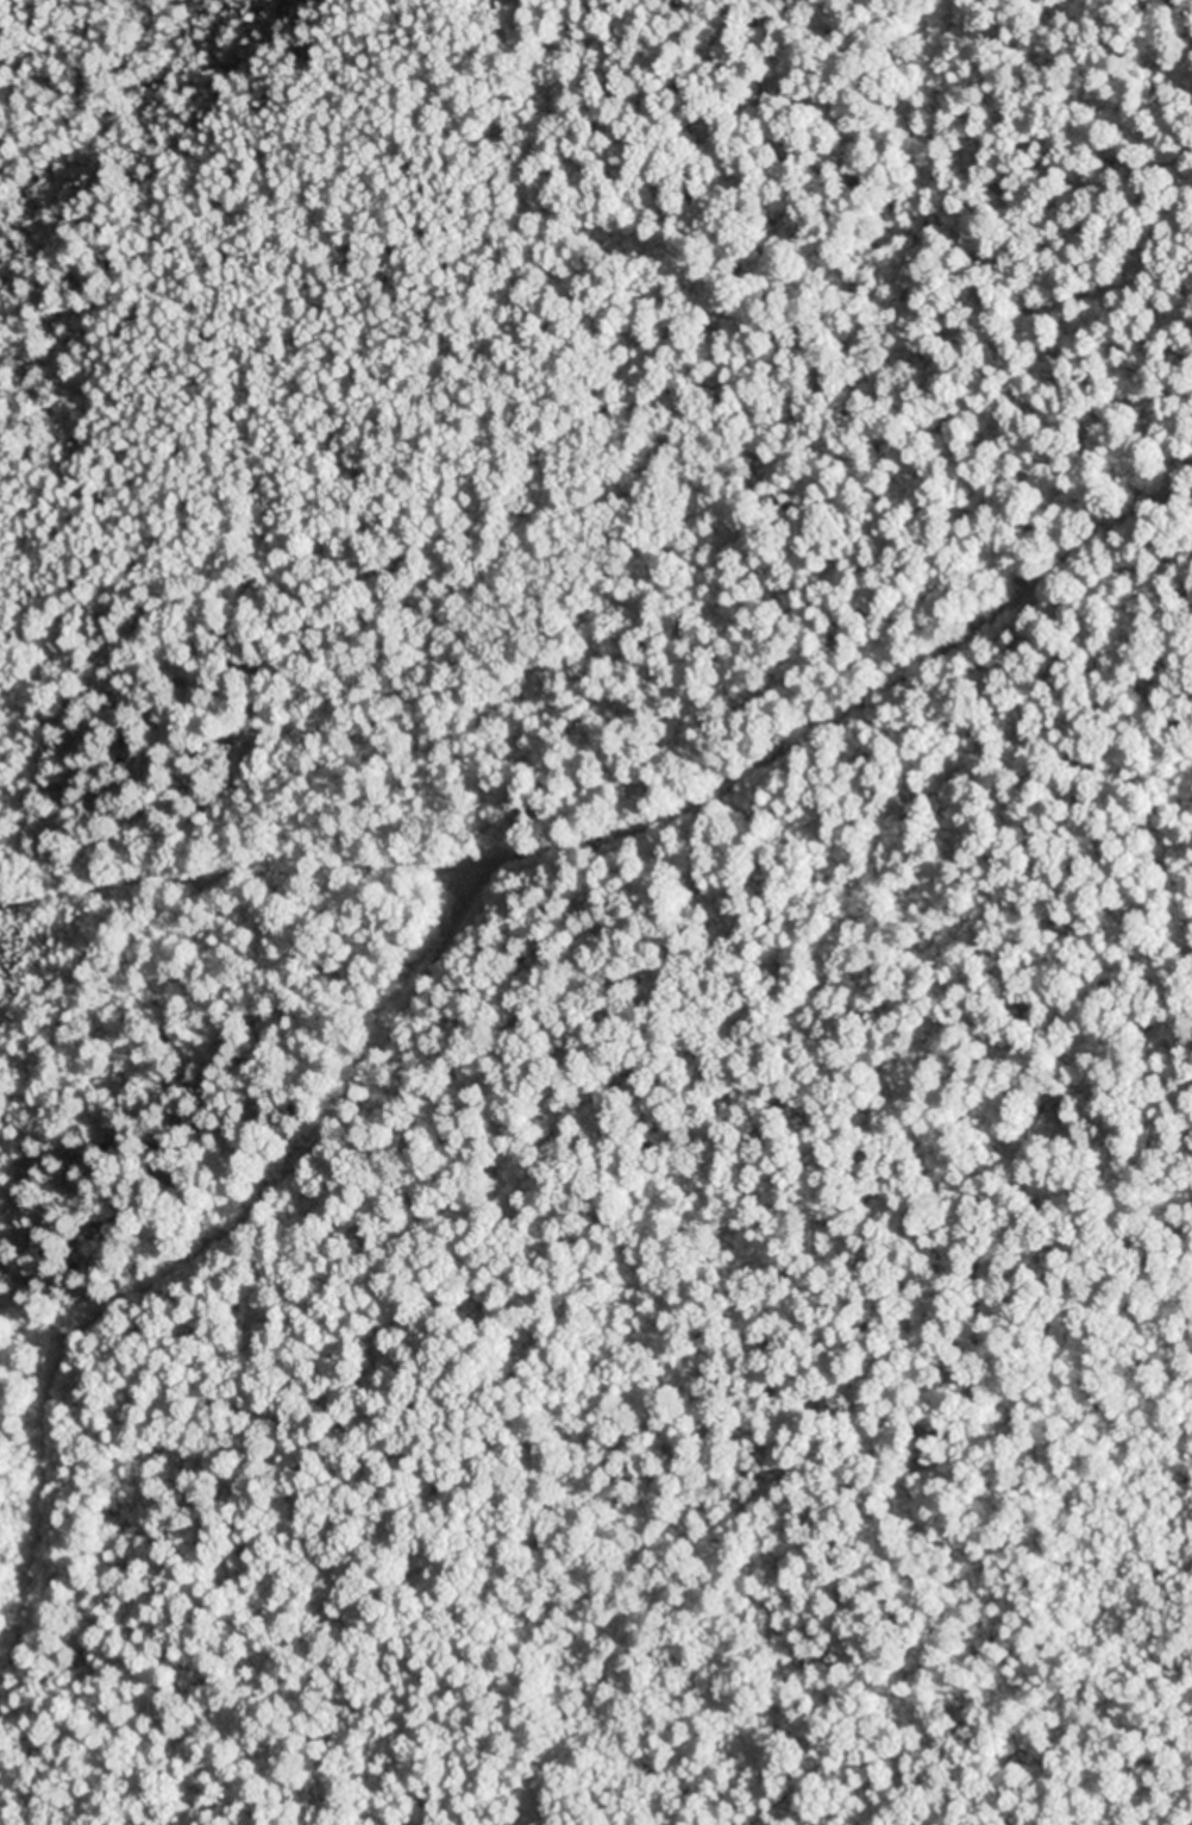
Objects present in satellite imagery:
road: (644, 810)

